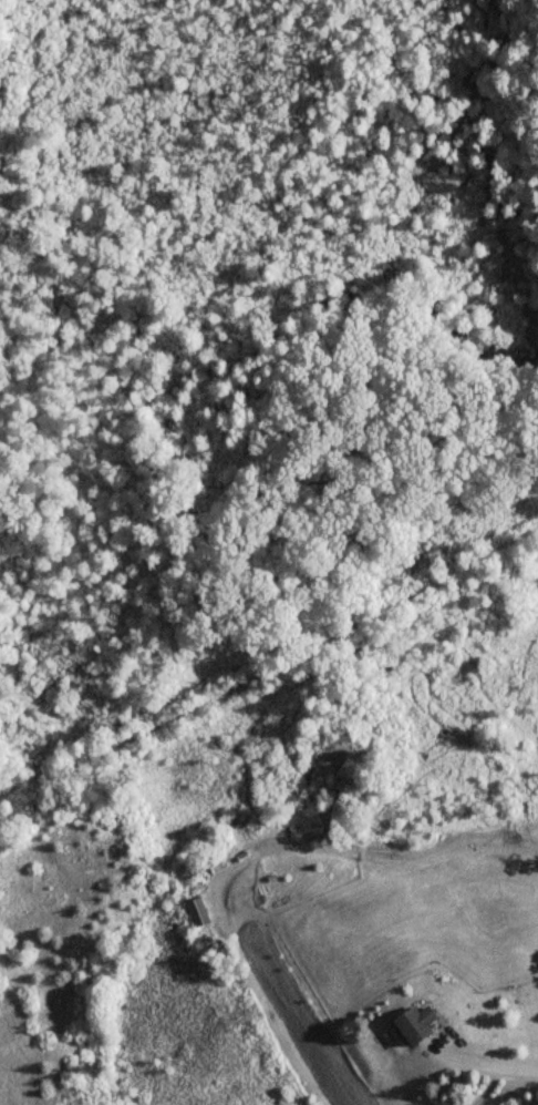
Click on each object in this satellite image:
building: (198, 912)
building: (420, 1025)
road: (490, 1061)

